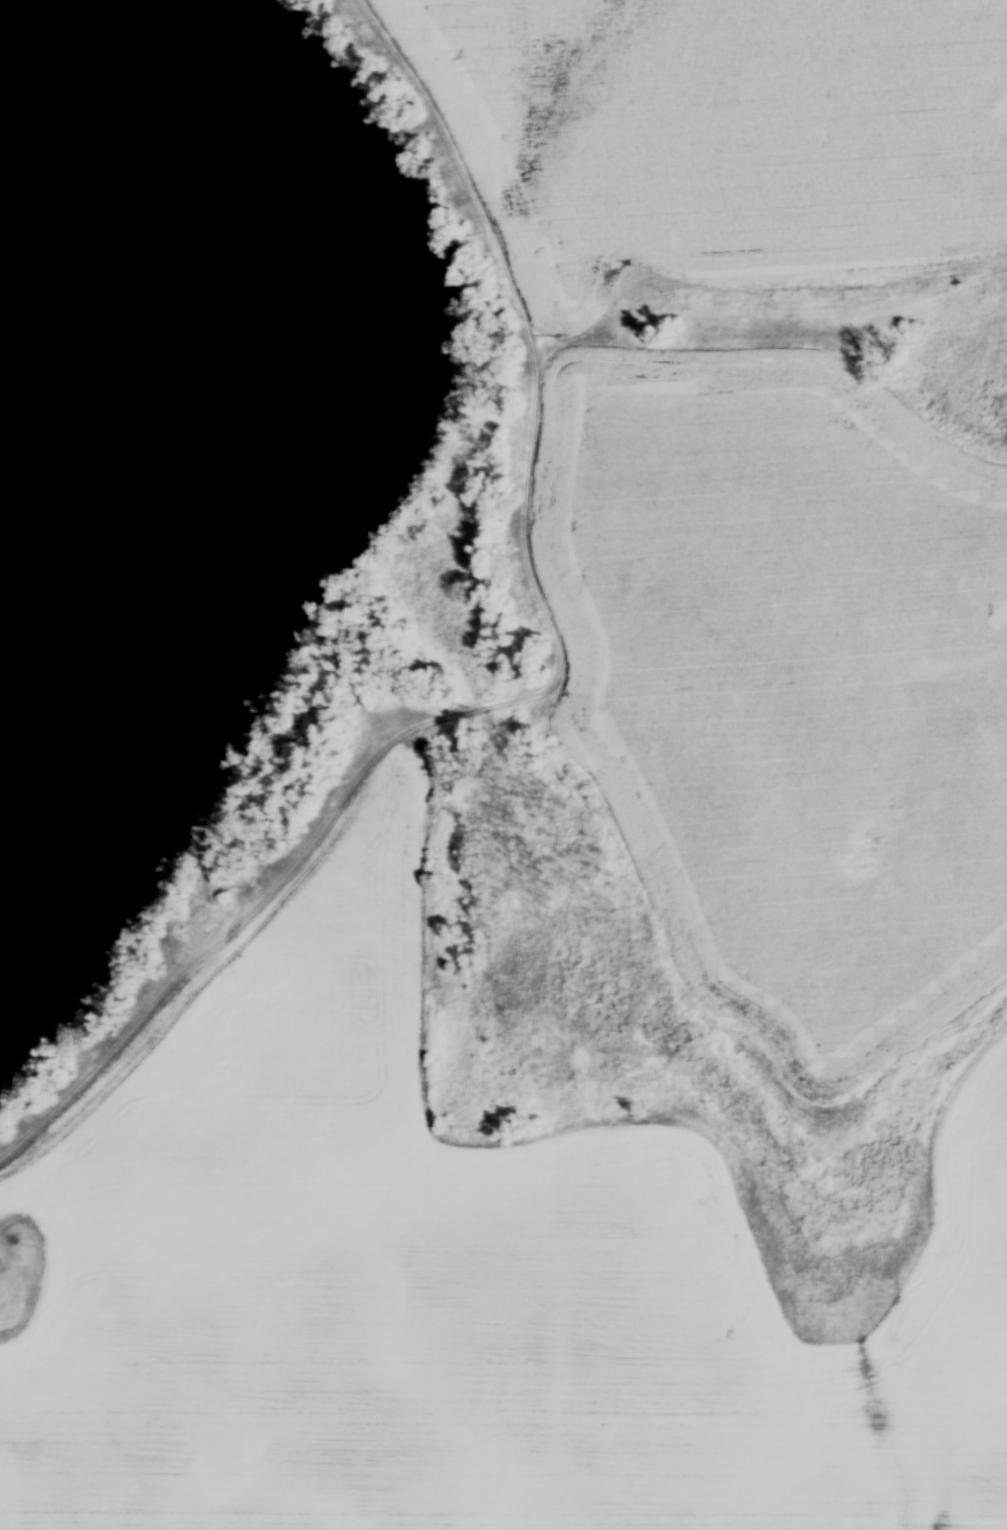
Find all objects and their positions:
river: (218, 324)
road: (543, 685)

